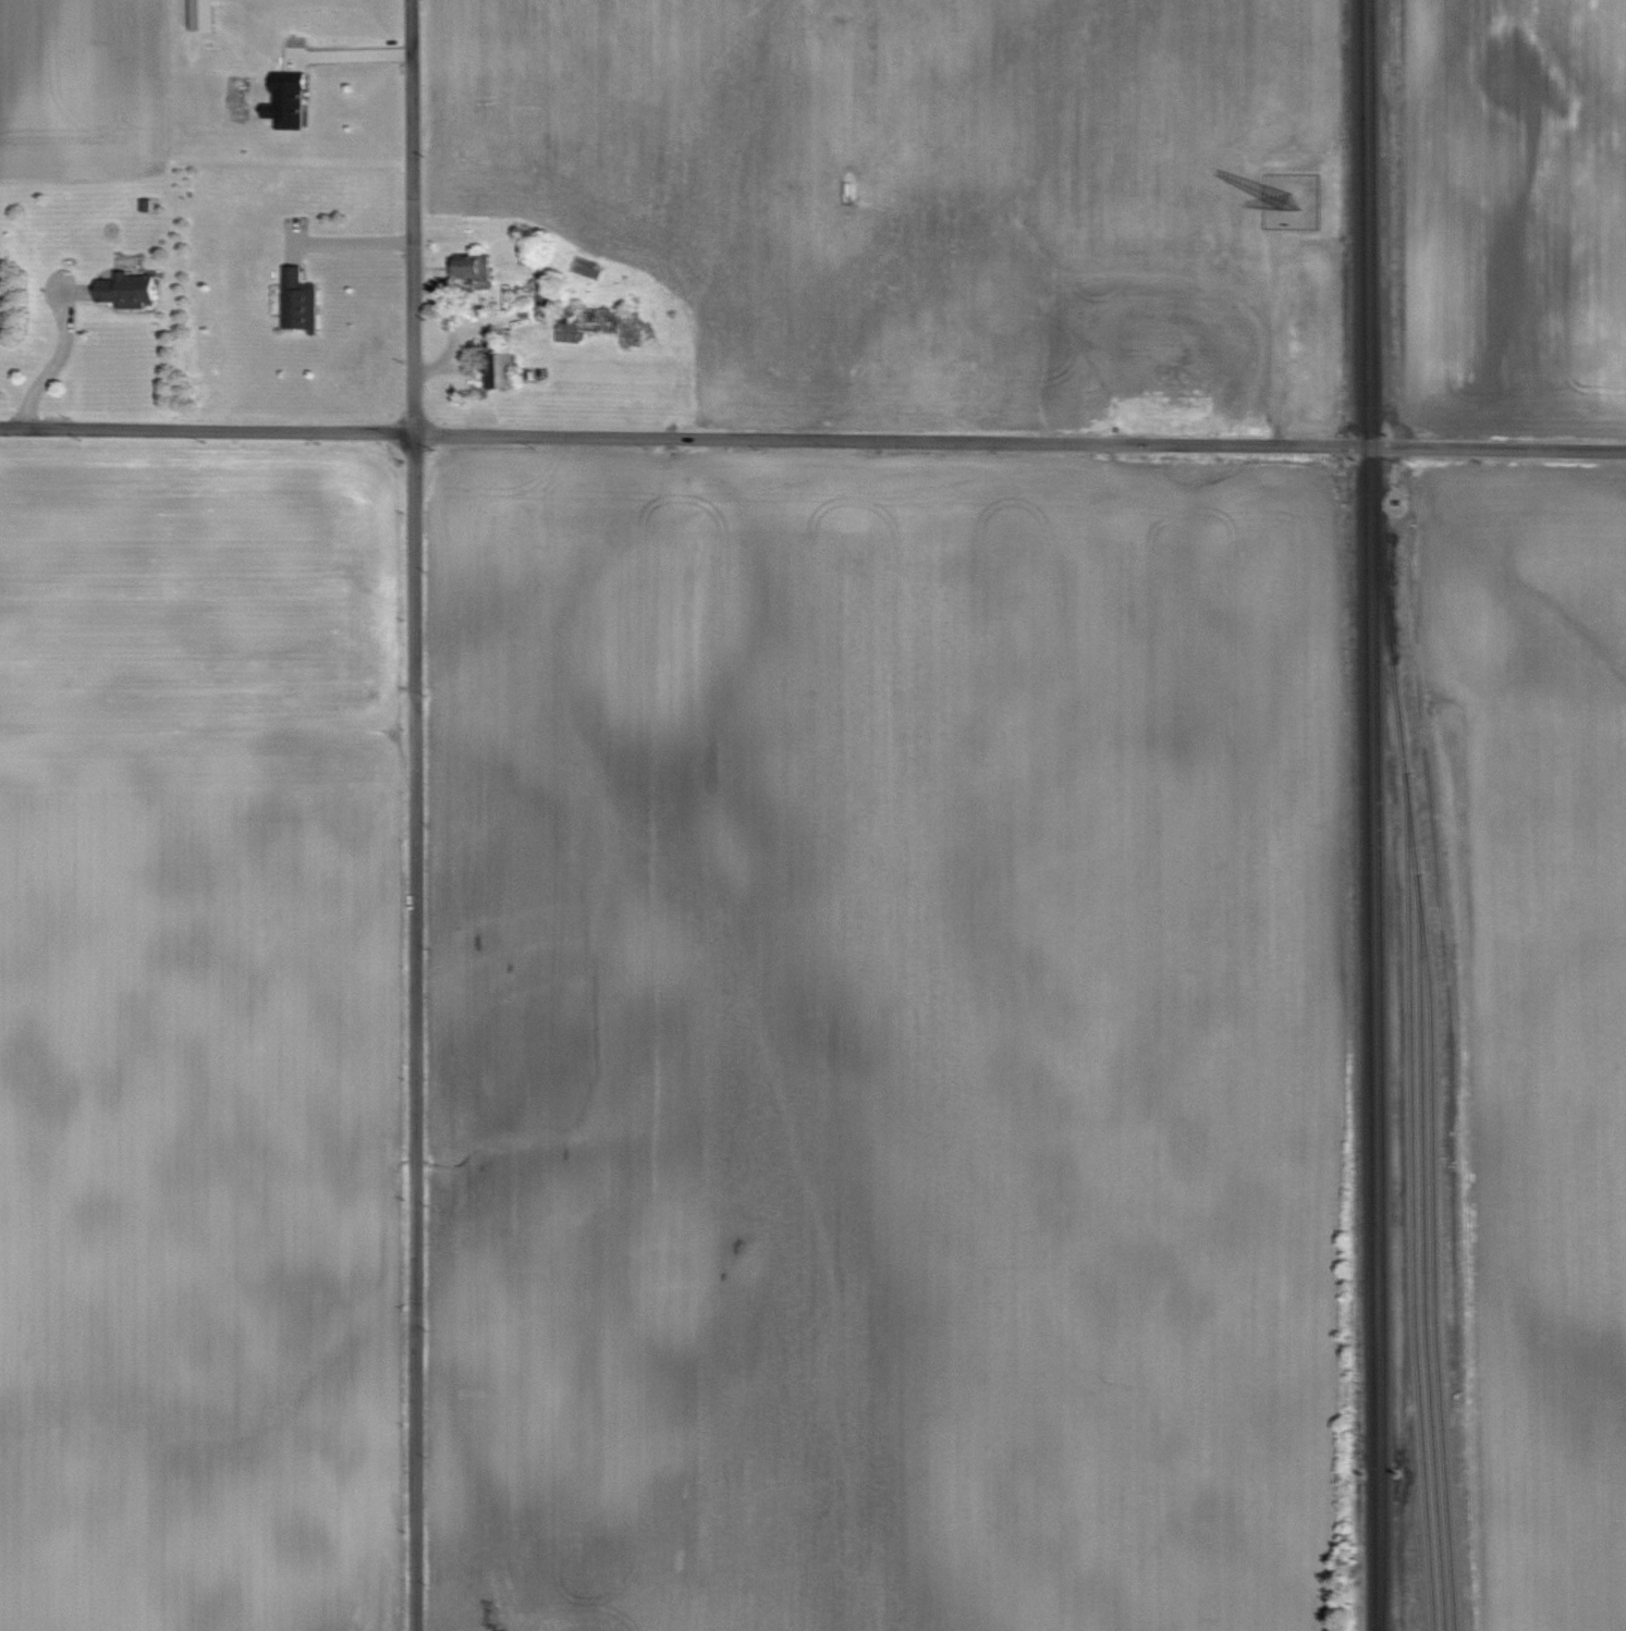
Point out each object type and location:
road: (352, 52)
building: (288, 101)
road: (352, 240)
building: (468, 268)
building: (125, 289)
building: (296, 301)
building: (599, 326)
road: (1275, 336)
road: (51, 363)
building: (492, 370)
road: (812, 440)
railway: (1402, 748)
road: (414, 814)
railway: (1368, 815)
railway: (1378, 815)
railway: (1411, 1212)
railway: (1423, 1262)
railway: (1434, 1311)

